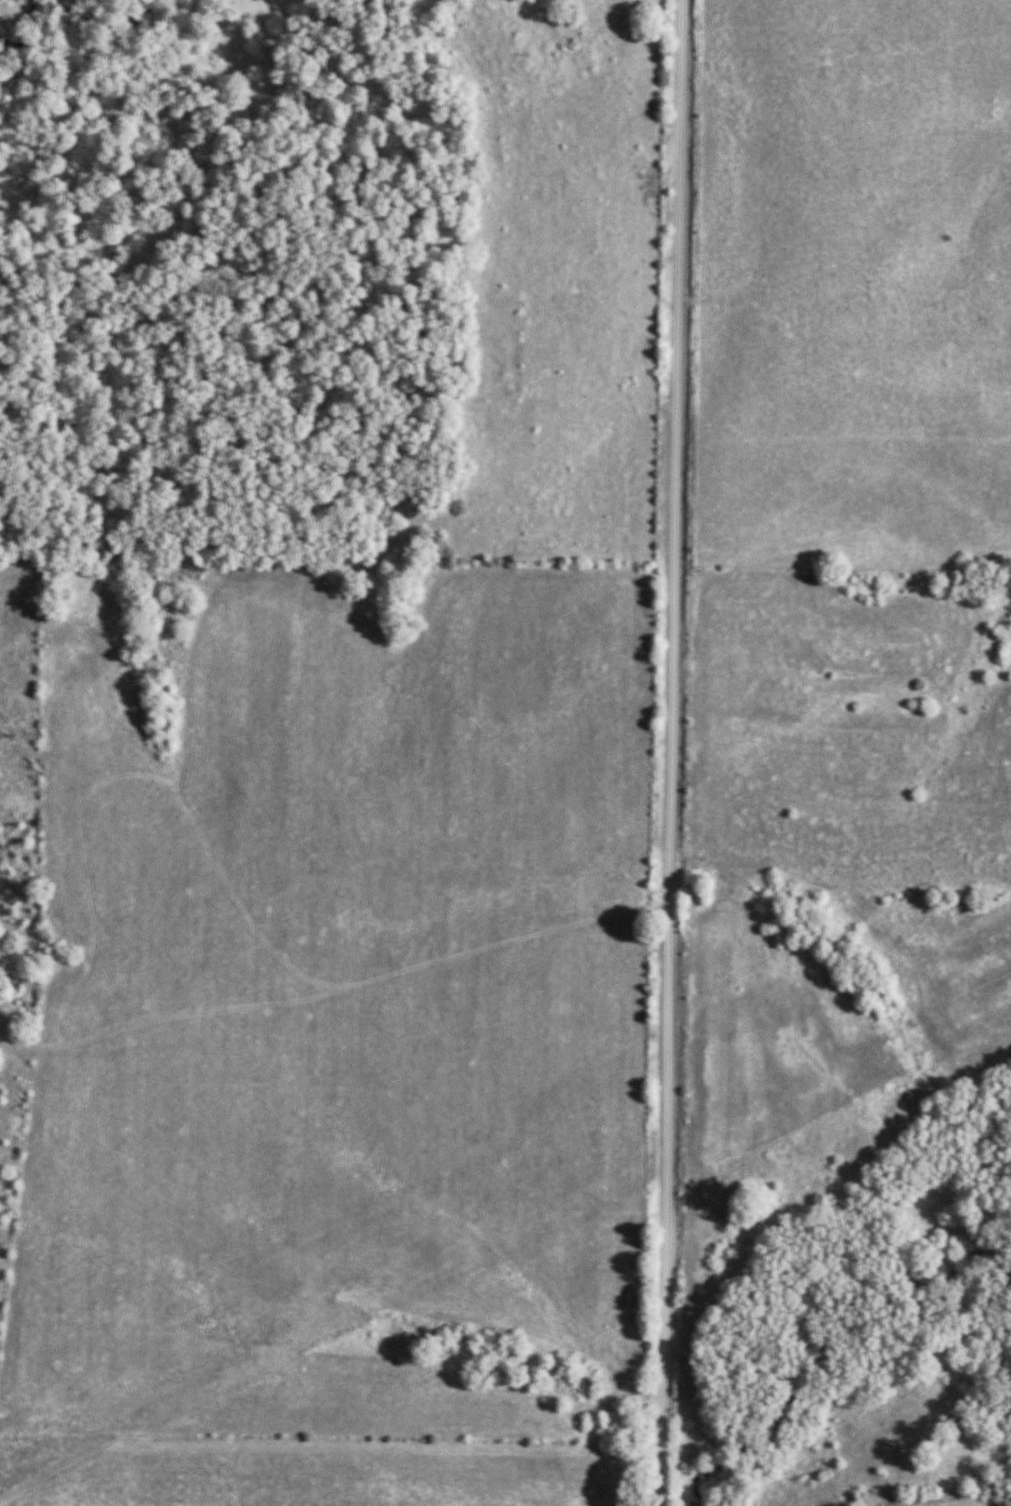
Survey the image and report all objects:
road: (669, 753)

